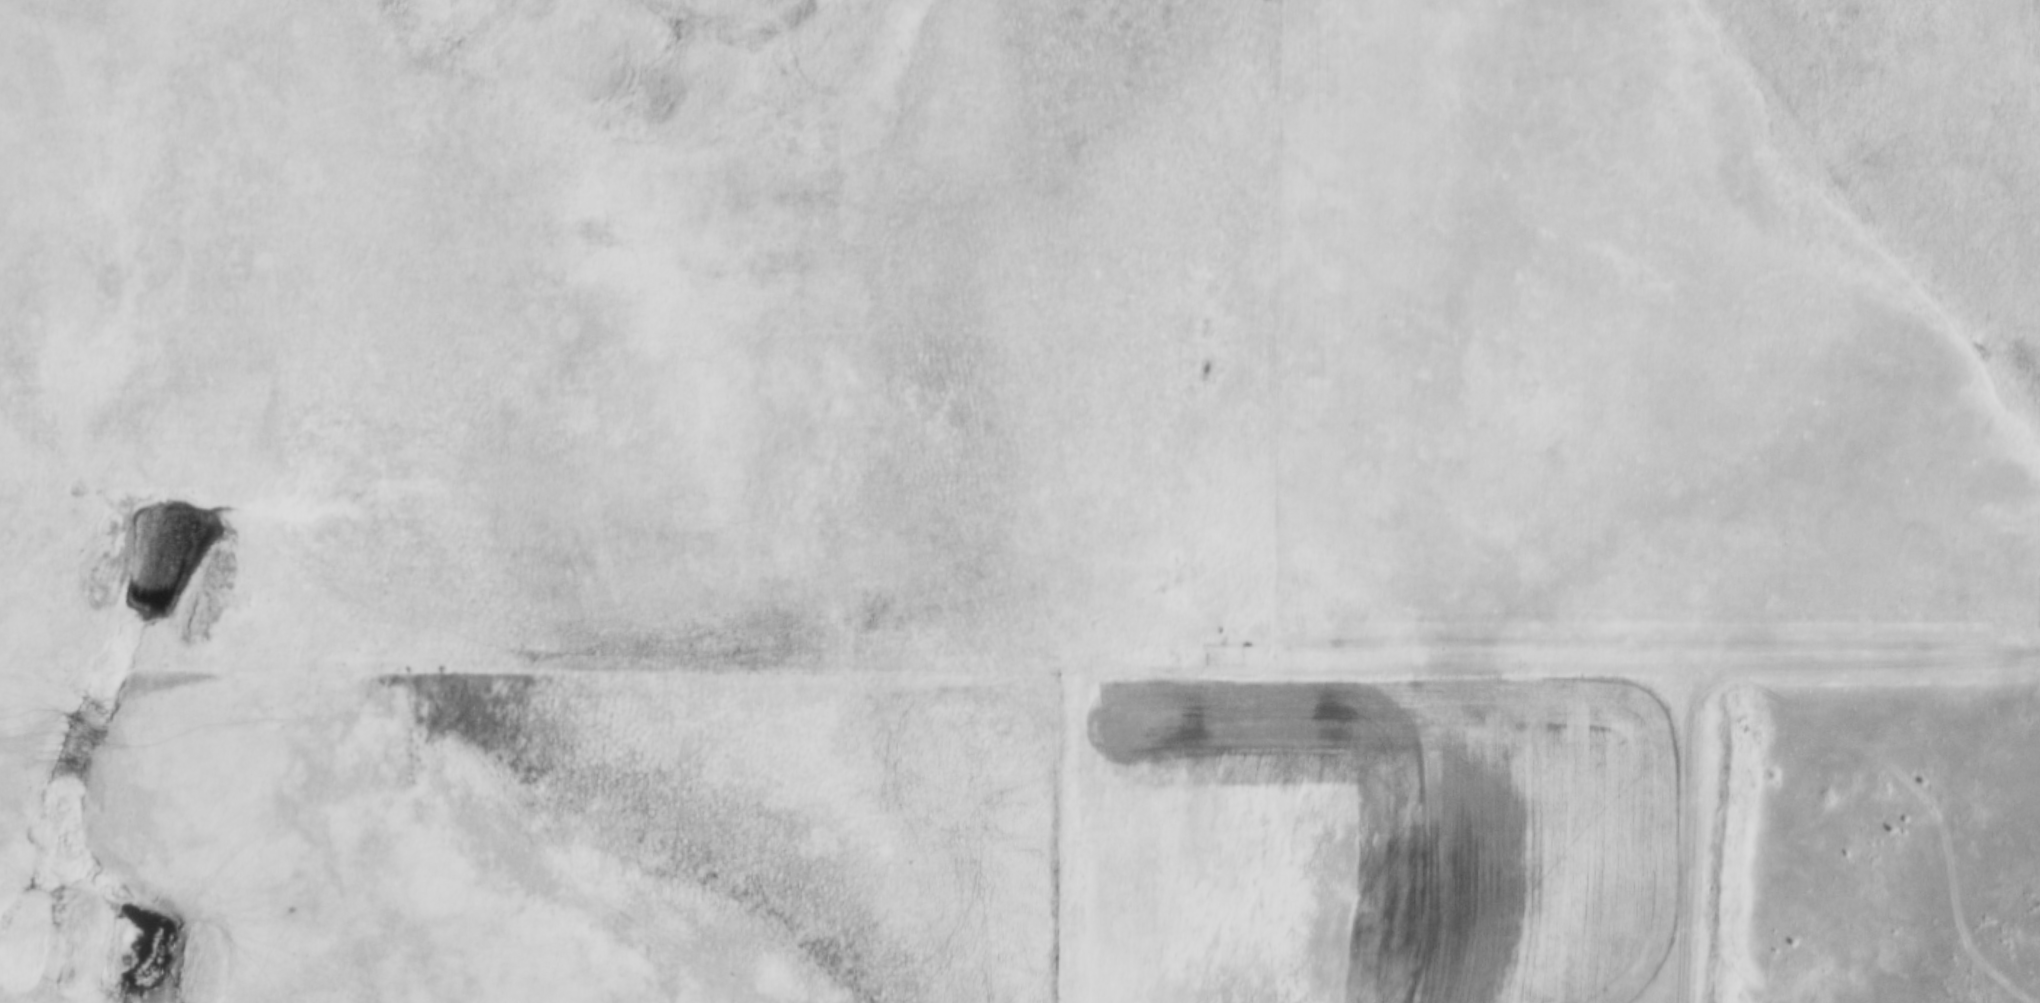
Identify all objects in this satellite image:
road: (1713, 680)
quarry: (1891, 868)

